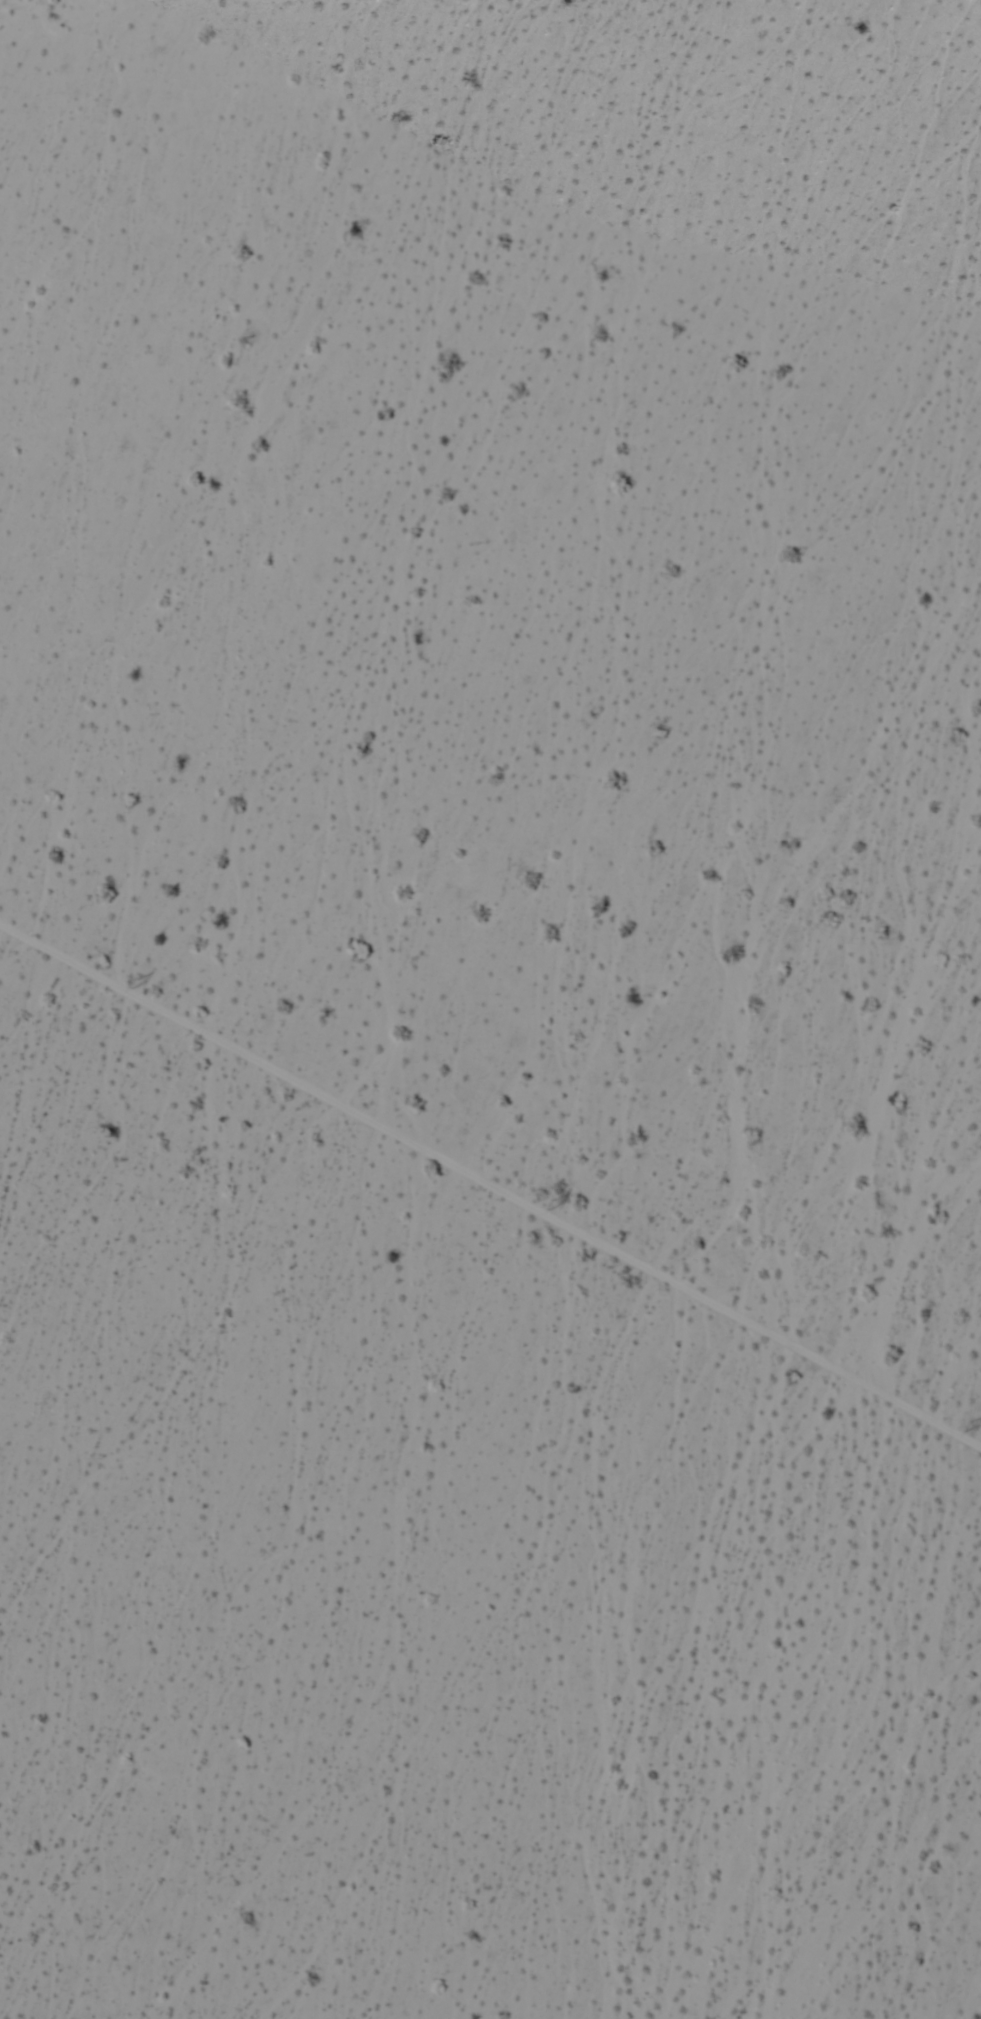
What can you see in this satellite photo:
power tower: (133, 983)
power tower: (562, 1211)
power tower: (964, 1424)

